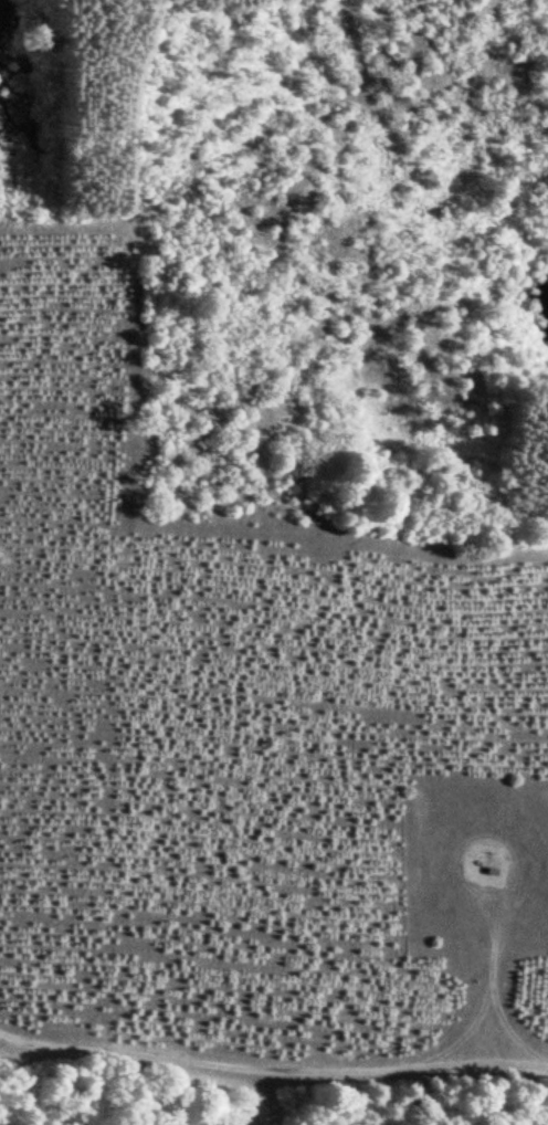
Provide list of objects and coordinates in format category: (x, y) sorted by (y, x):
road: (482, 826)
petroleum well: (484, 870)
road: (495, 996)
road: (272, 1069)

